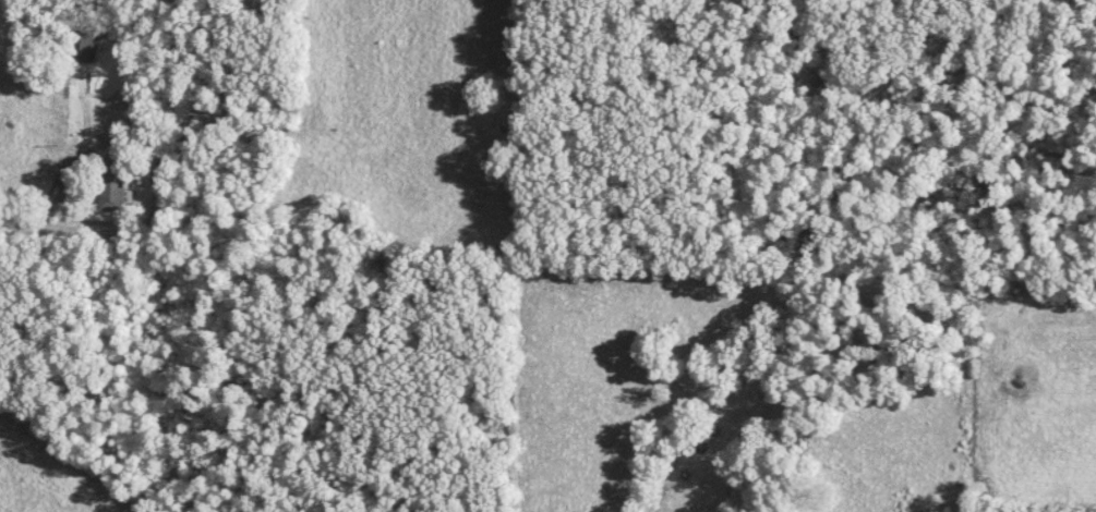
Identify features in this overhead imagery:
building: (117, 193)
road: (19, 224)

